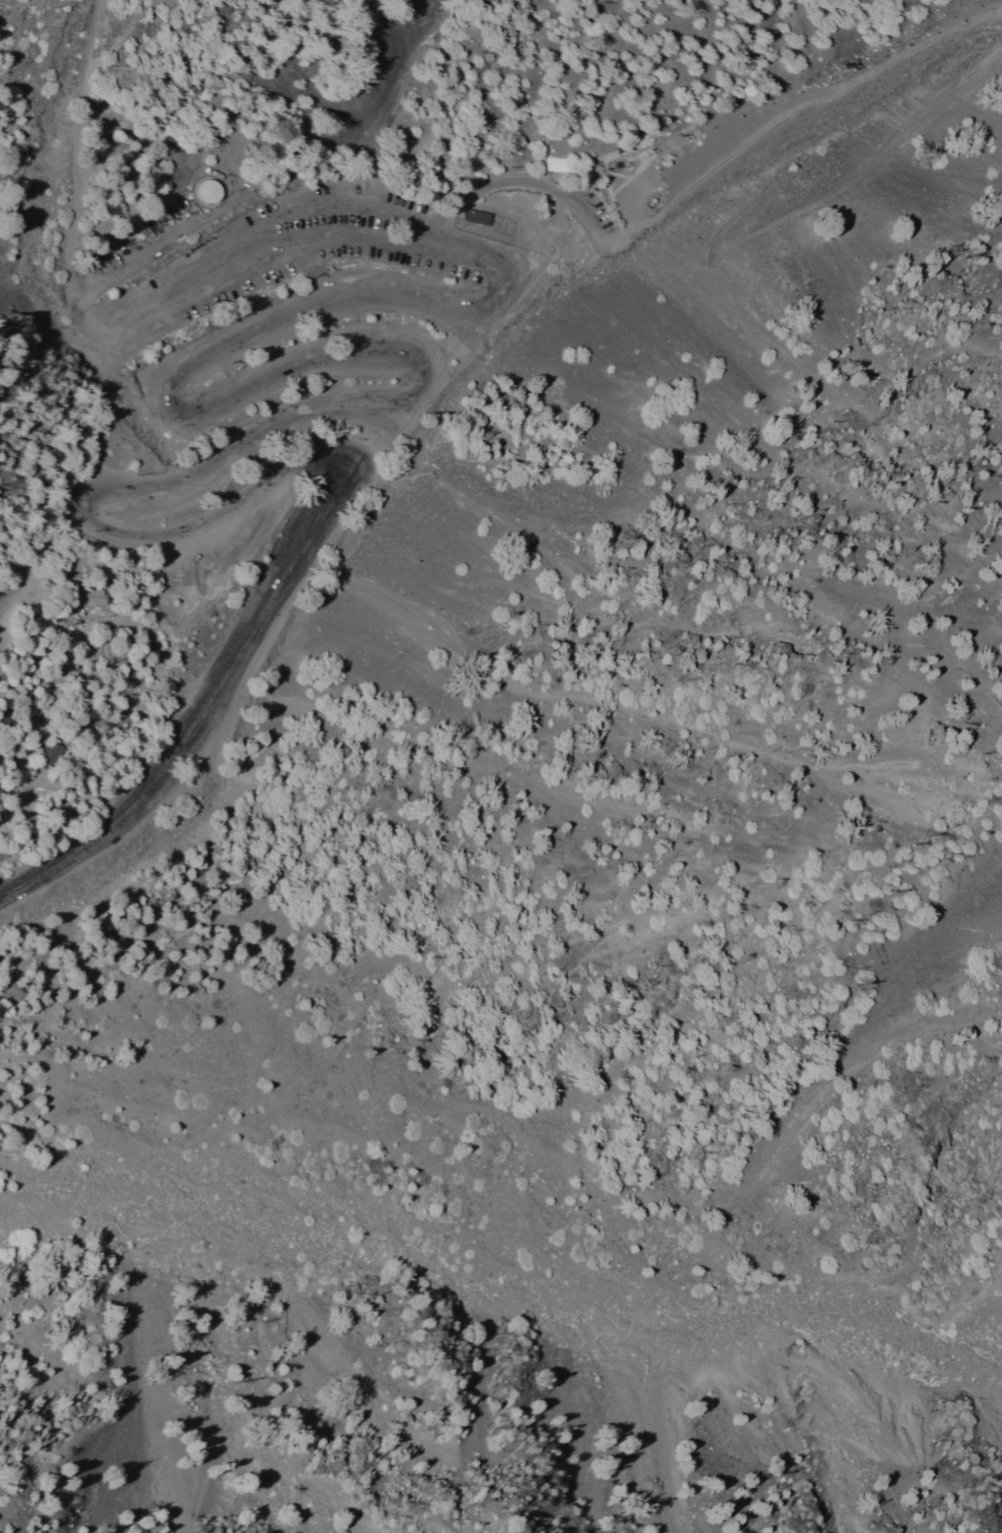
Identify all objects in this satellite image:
aerialway pylon: (847, 67)
aerialway pylon: (687, 136)
aerialway pylon: (651, 152)
road: (70, 173)
storage tank: (209, 192)
building: (483, 213)
ski resort: (498, 265)
parking lot: (312, 305)
road: (226, 404)
building: (95, 597)
road: (205, 709)

